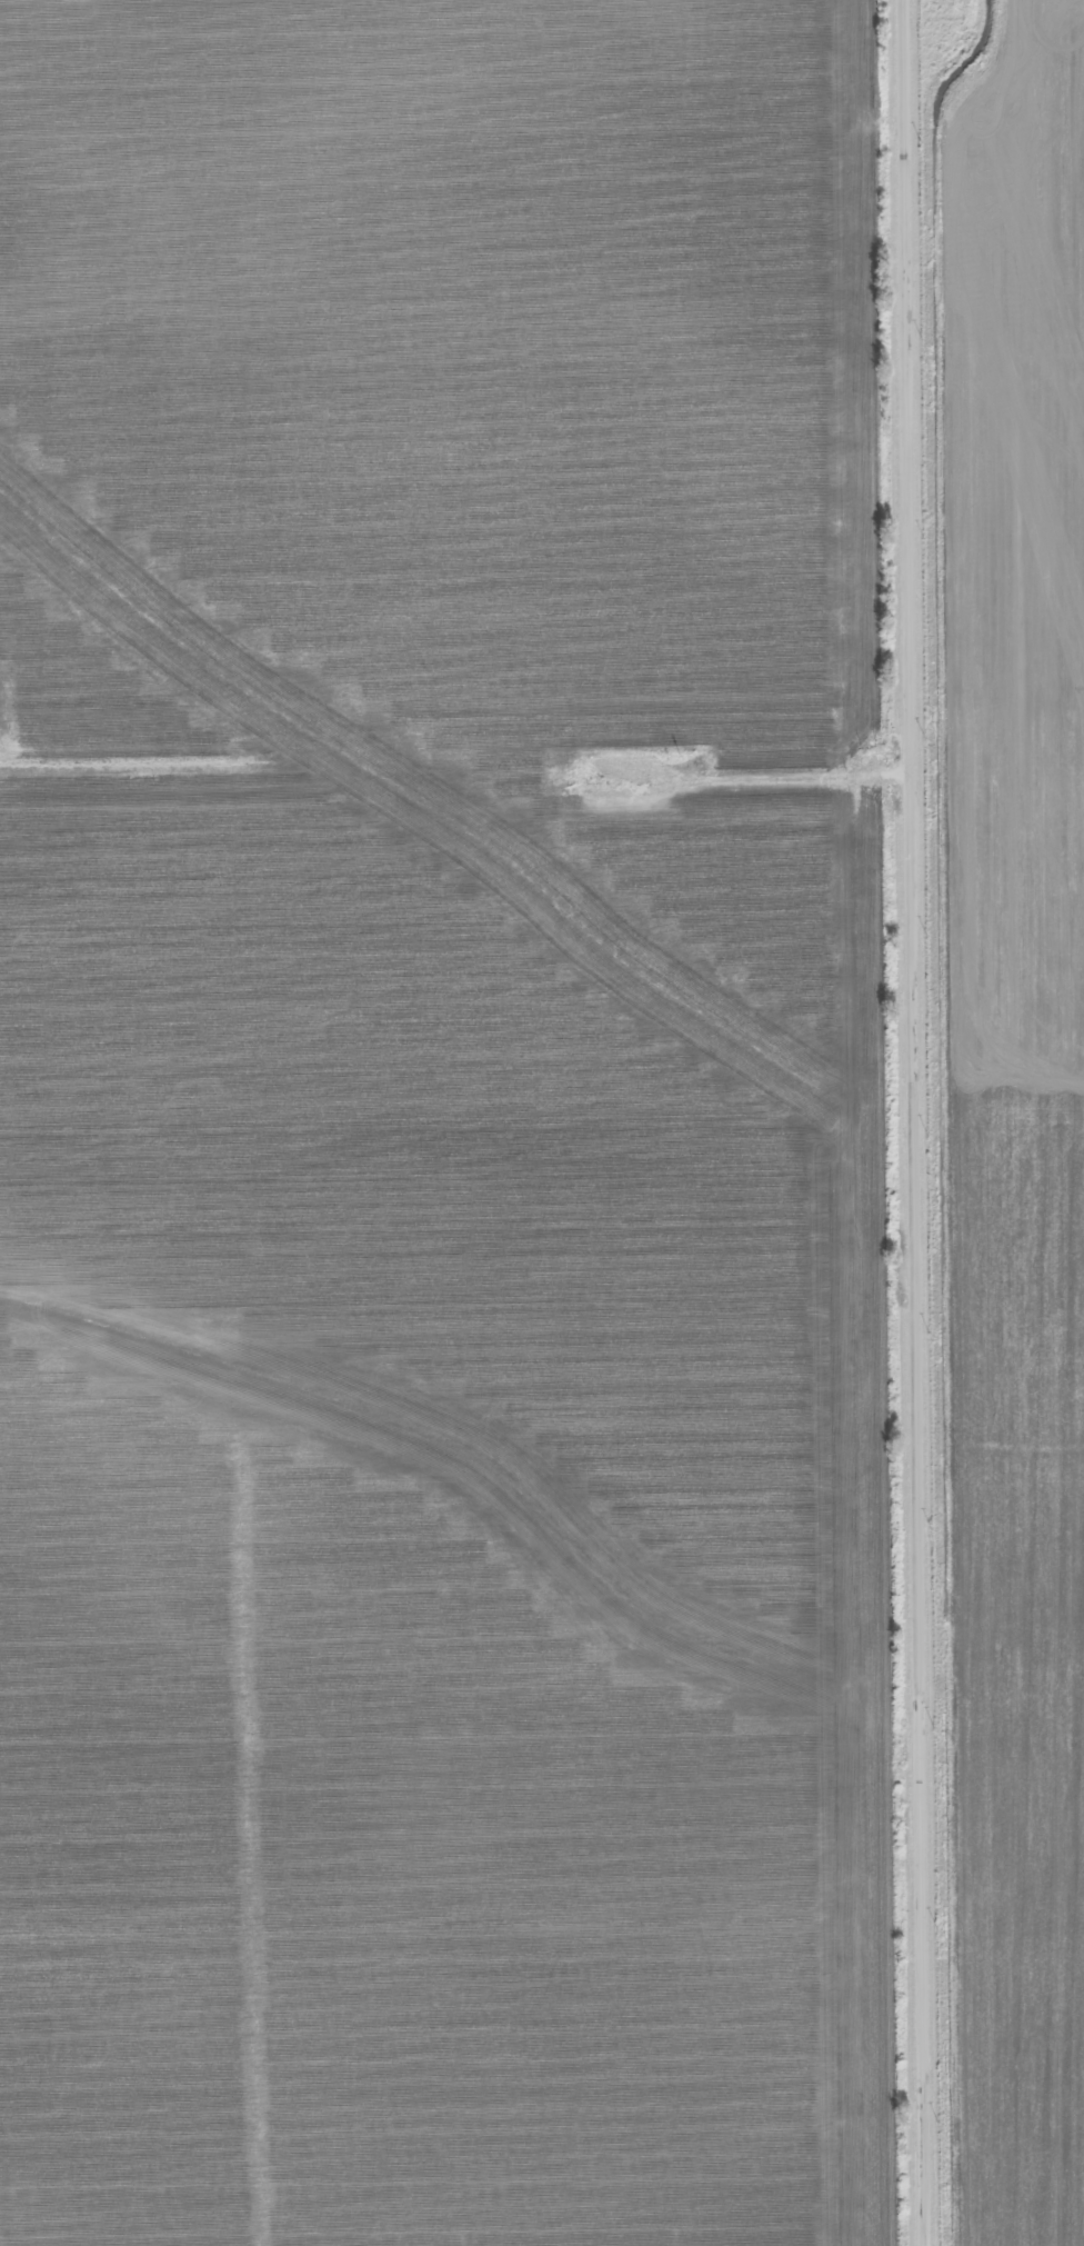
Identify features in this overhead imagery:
road: (915, 1122)

